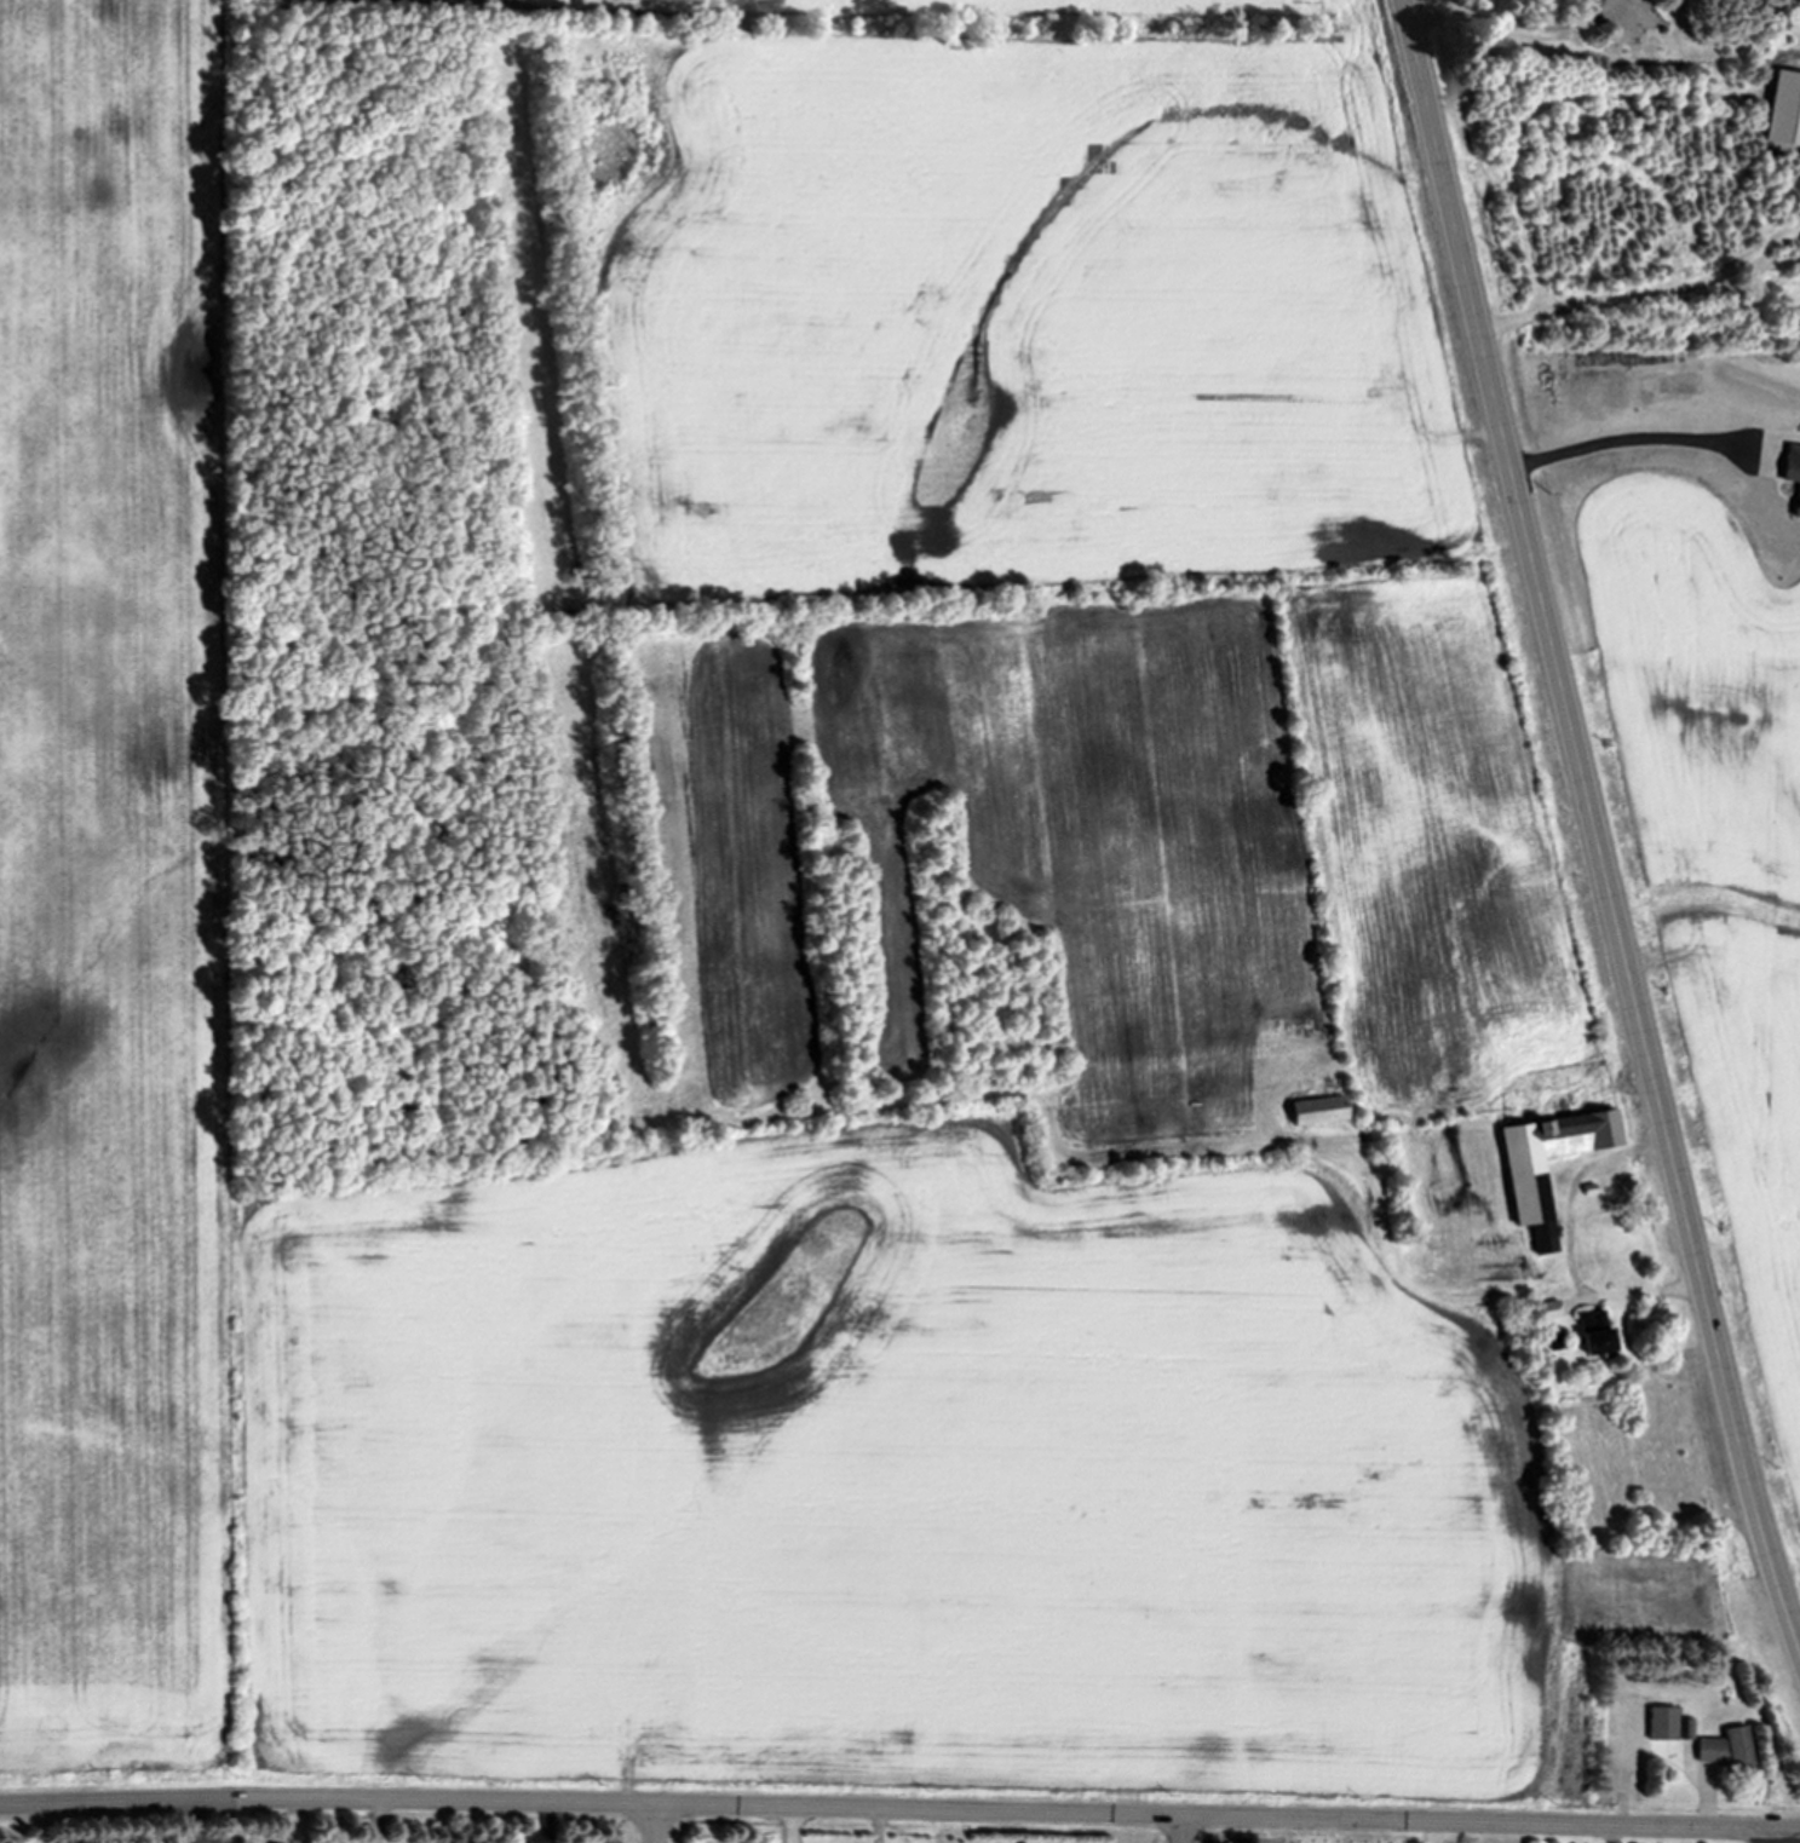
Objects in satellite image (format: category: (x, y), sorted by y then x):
road: (1512, 23)
road: (1644, 295)
road: (1626, 439)
building: (1790, 477)
road: (1593, 827)
building: (1312, 1113)
building: (1522, 1194)
road: (1566, 1246)
building: (1545, 1313)
building: (1588, 1336)
building: (1657, 1723)
building: (1721, 1749)
road: (899, 1805)
road: (656, 1822)
road: (792, 1824)
road: (1184, 1827)
road: (1616, 1833)
road: (1782, 1835)

